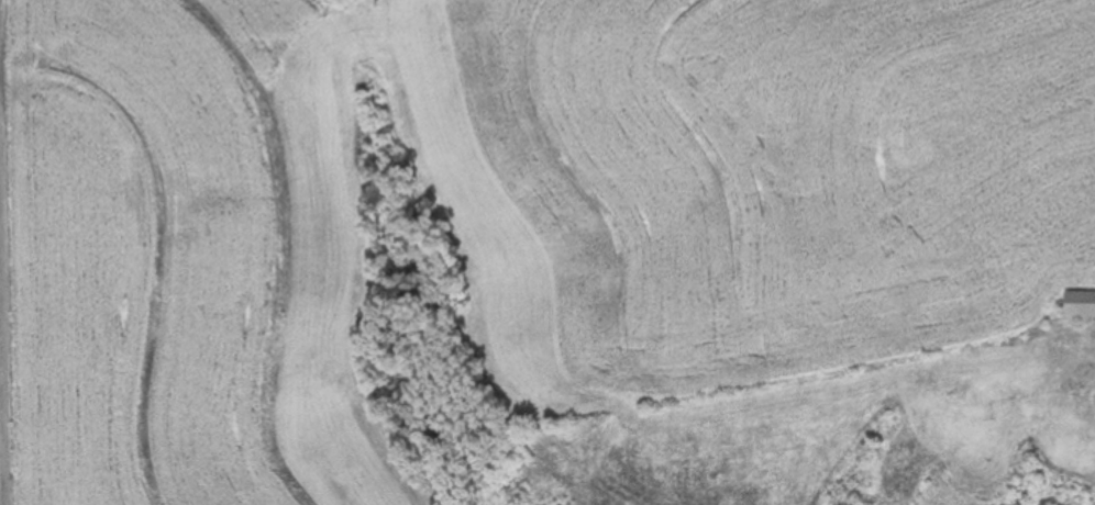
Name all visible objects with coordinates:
building: (1079, 306)

